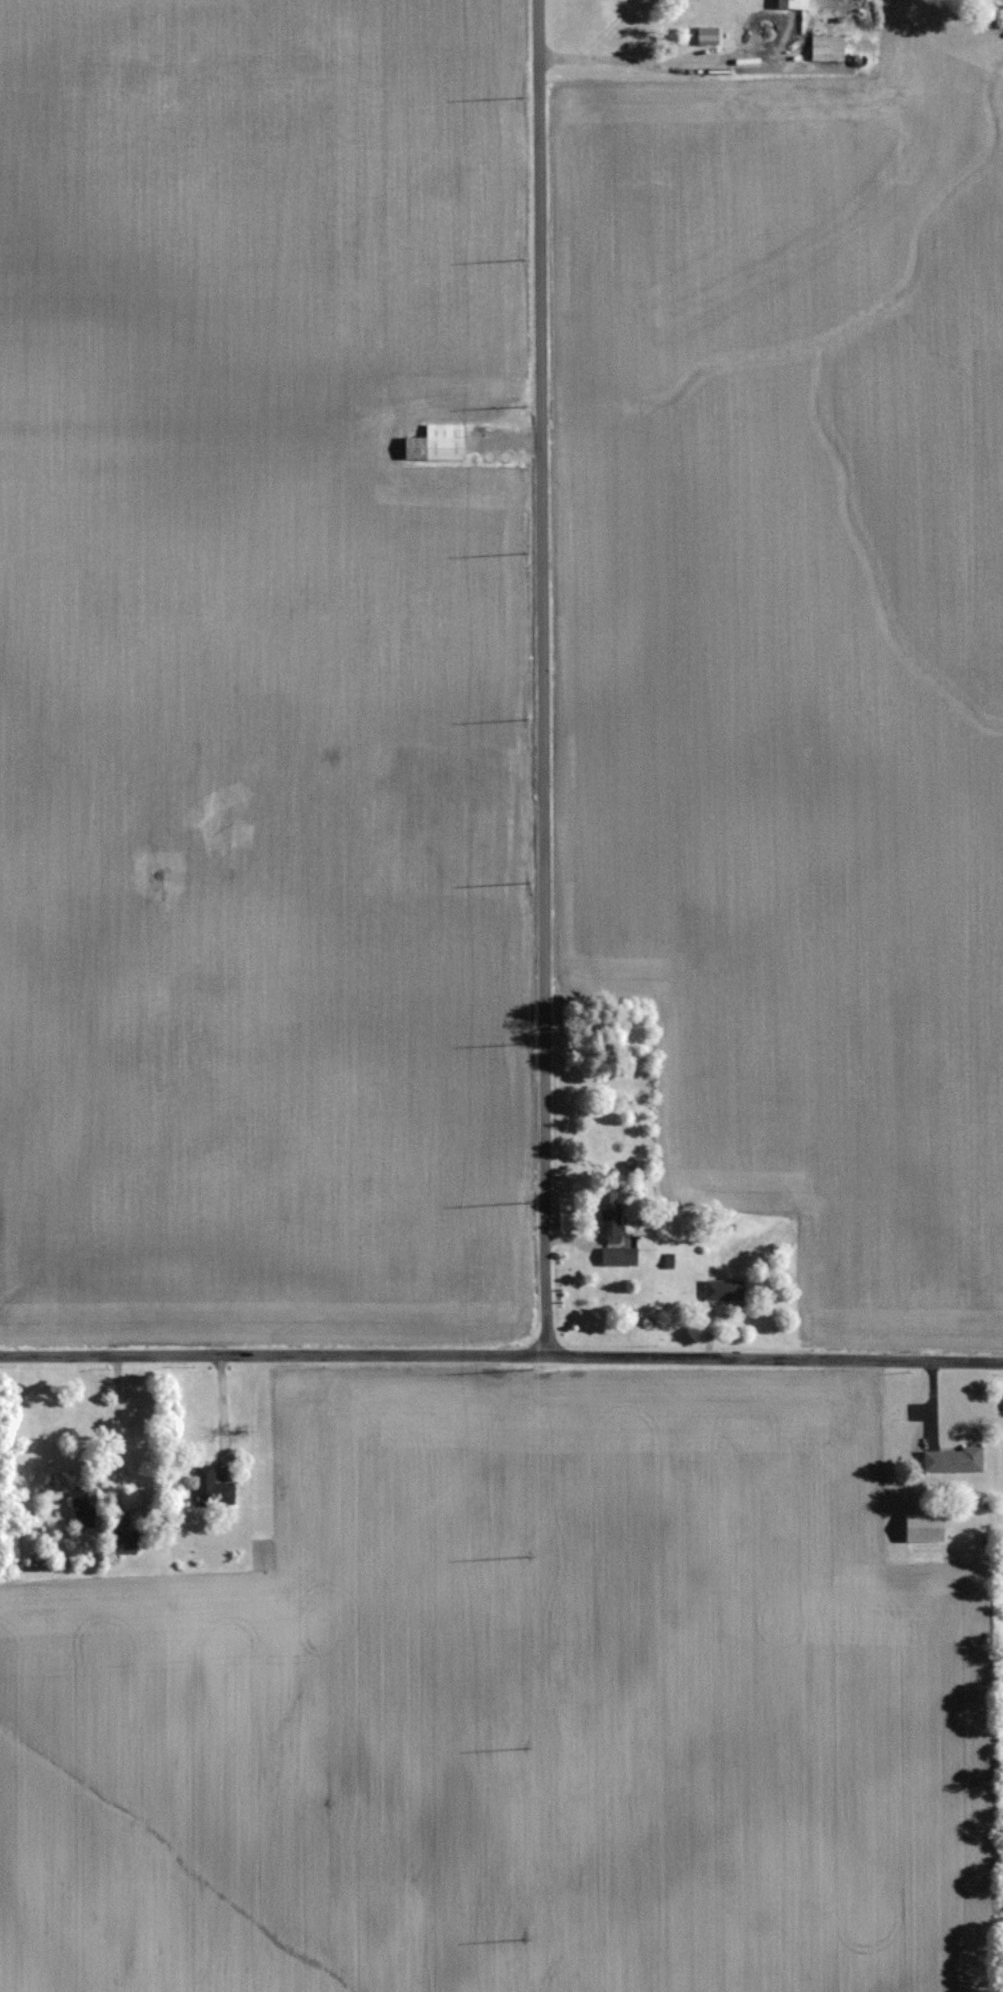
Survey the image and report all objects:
building: (793, 3)
building: (707, 33)
building: (827, 46)
road: (655, 63)
building: (436, 442)
road: (542, 677)
building: (610, 1212)
building: (619, 1255)
building: (723, 1290)
road: (501, 1354)
road: (218, 1410)
road: (113, 1430)
building: (953, 1459)
building: (212, 1487)
building: (84, 1505)
building: (925, 1526)
building: (122, 1543)

